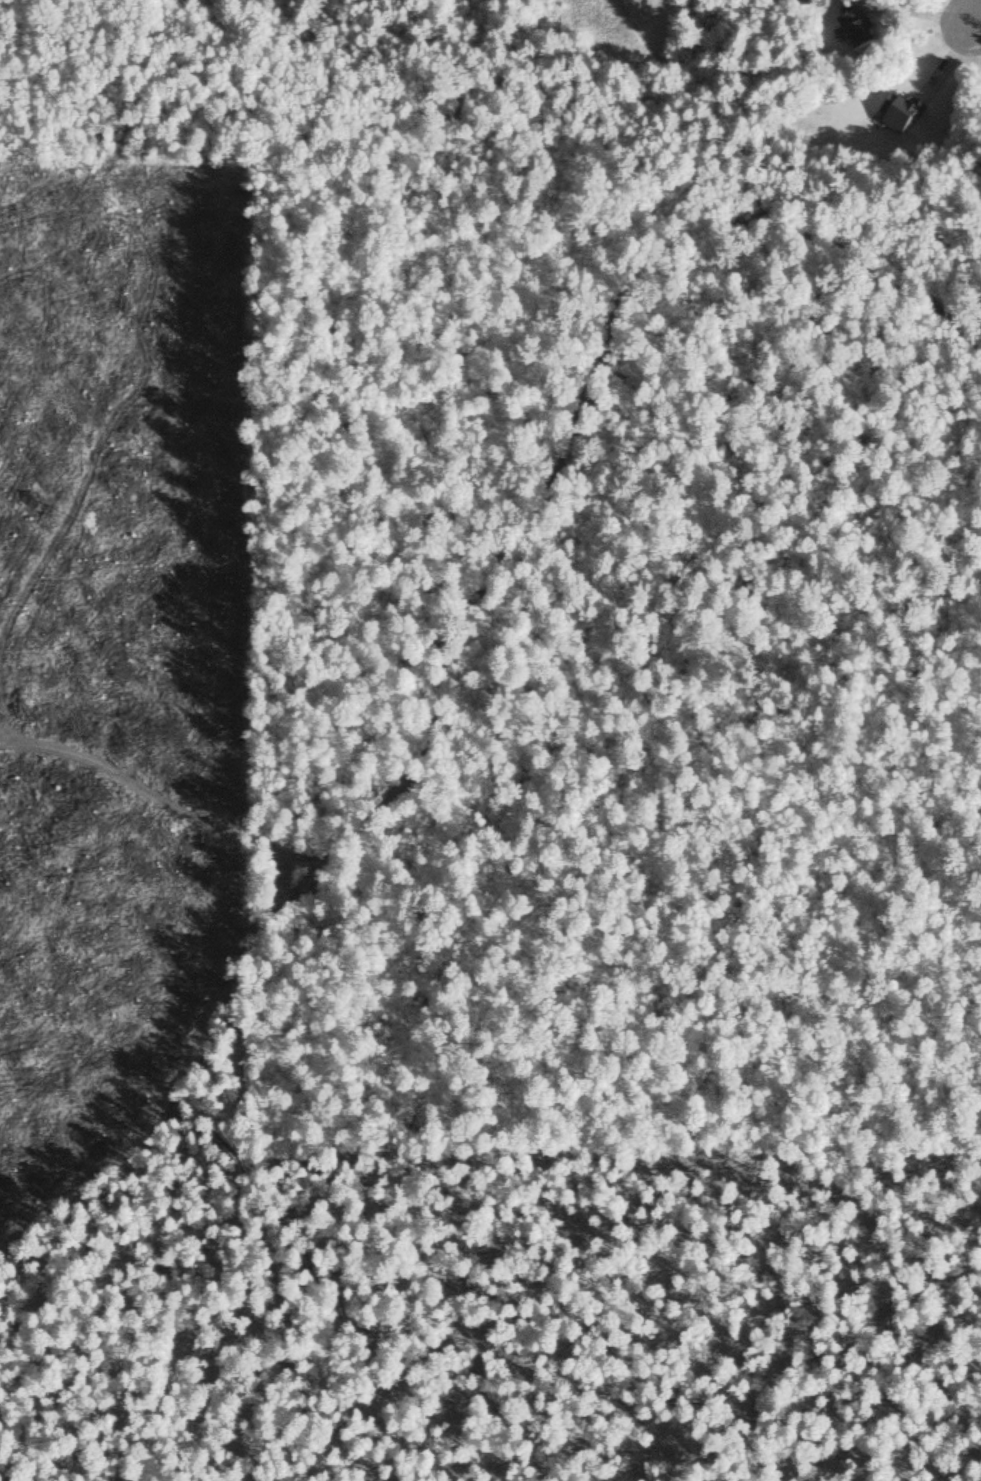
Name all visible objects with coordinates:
road: (976, 13)
building: (852, 29)
road: (658, 52)
road: (618, 71)
building: (894, 120)
road: (590, 406)
road: (153, 791)
road: (166, 1071)

